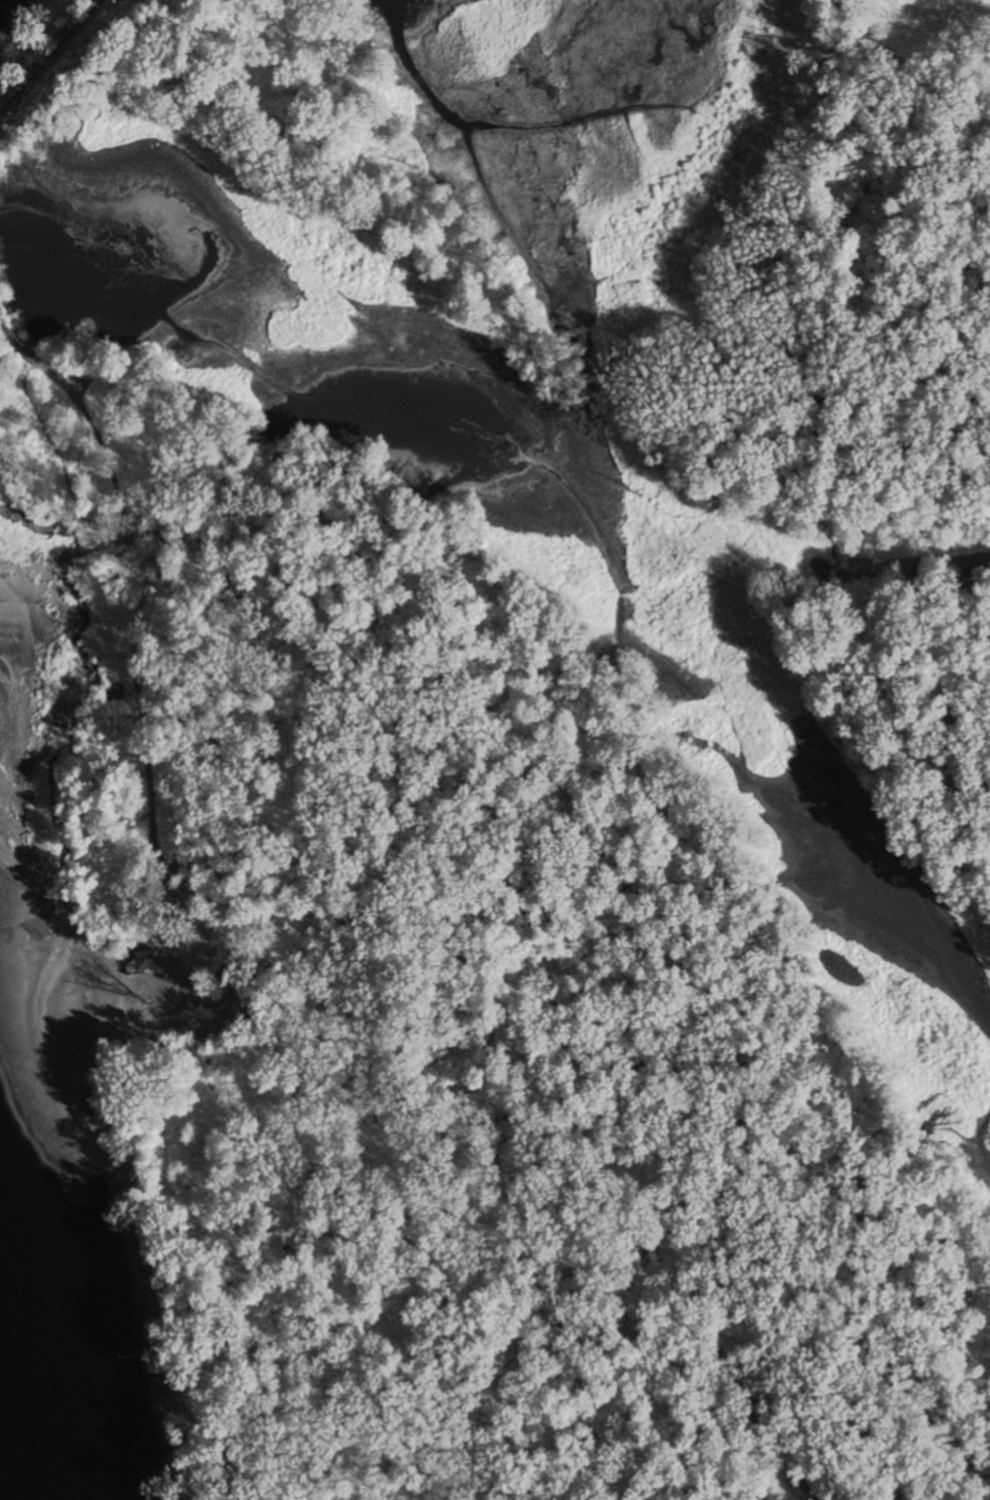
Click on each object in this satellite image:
road: (49, 54)
park: (320, 85)
road: (308, 97)
road: (162, 820)
road: (714, 843)

